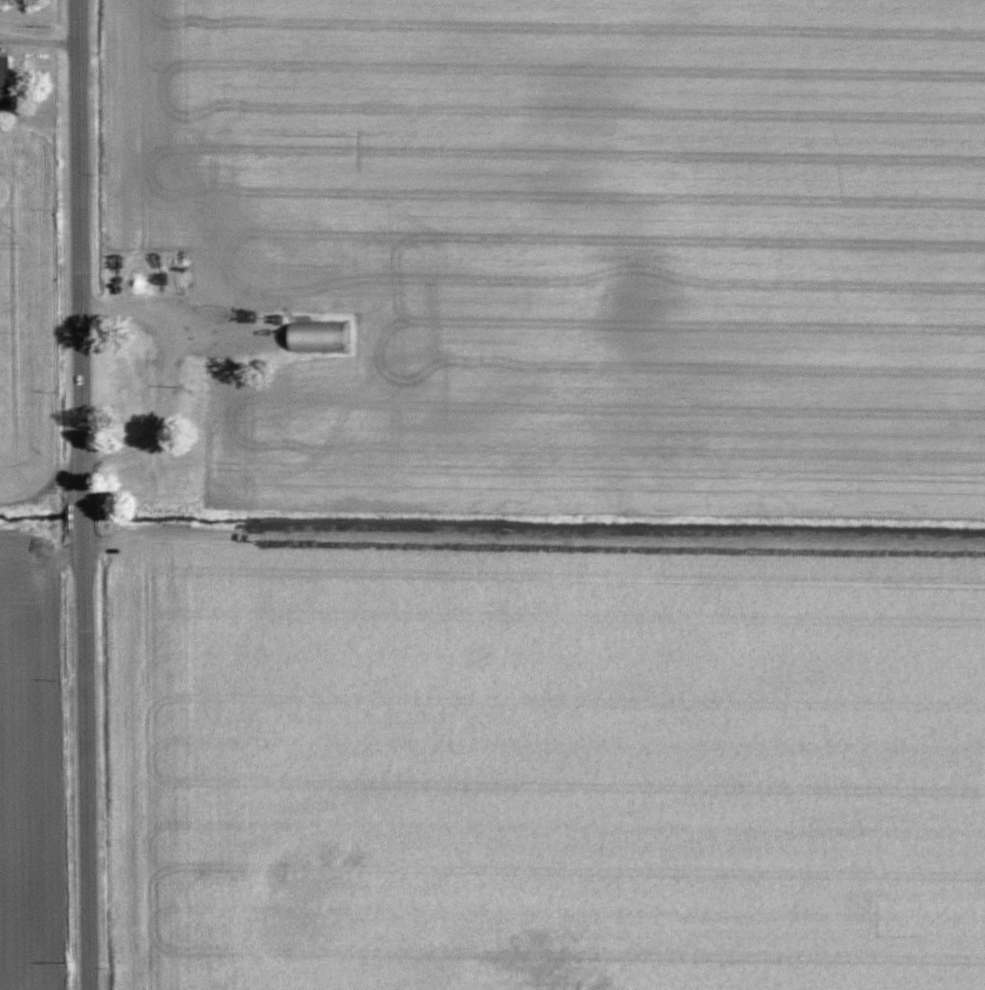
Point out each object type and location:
building: (6, 83)
building: (320, 339)
road: (84, 495)

